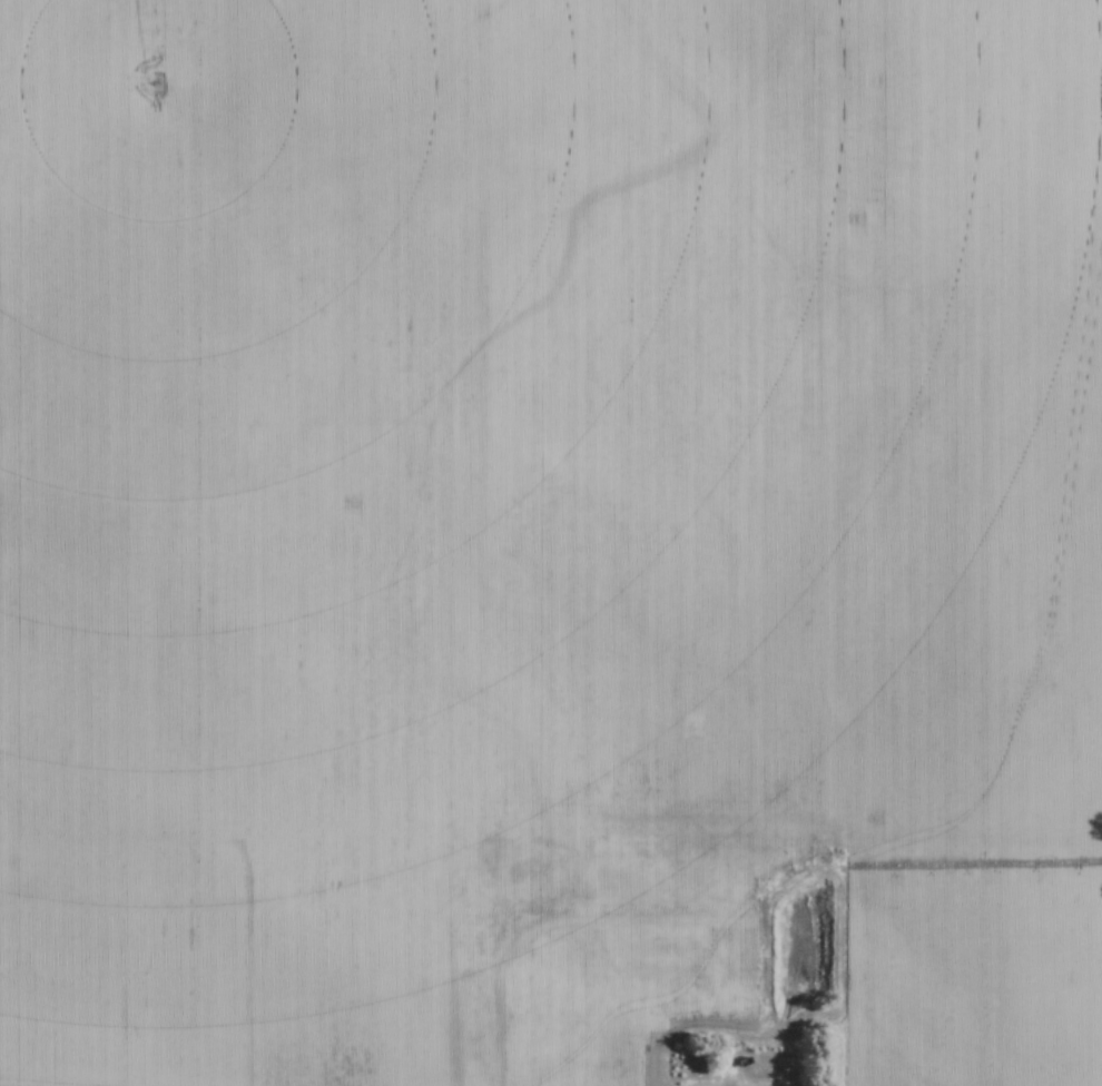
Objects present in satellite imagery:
crop: (542, 515)
road: (614, 919)
building: (661, 948)
road: (715, 975)
silo: (521, 995)
building: (642, 1039)
building: (599, 1076)

